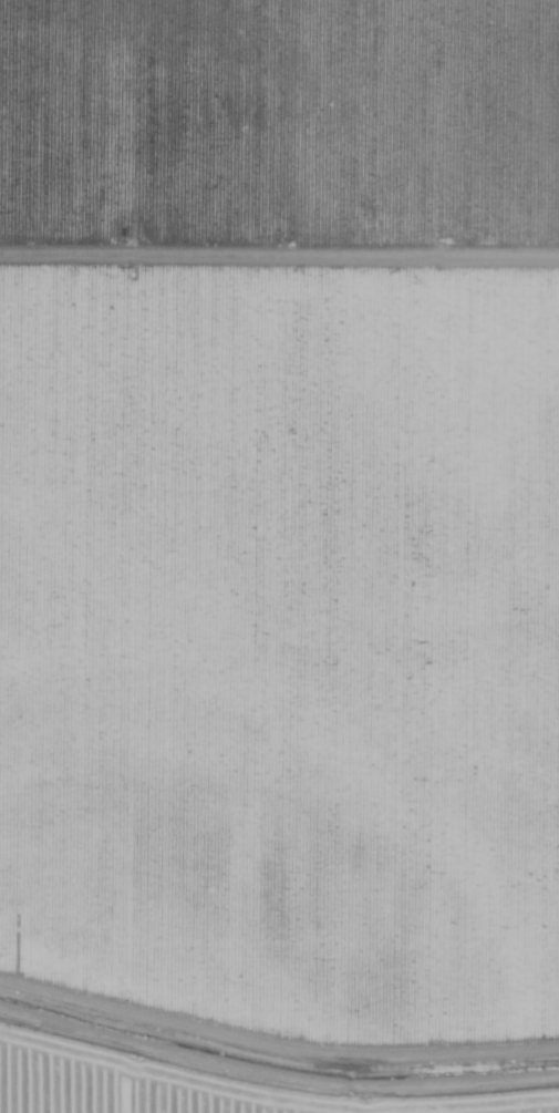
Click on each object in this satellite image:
crop: (278, 125)
road: (279, 230)
crop: (279, 682)

